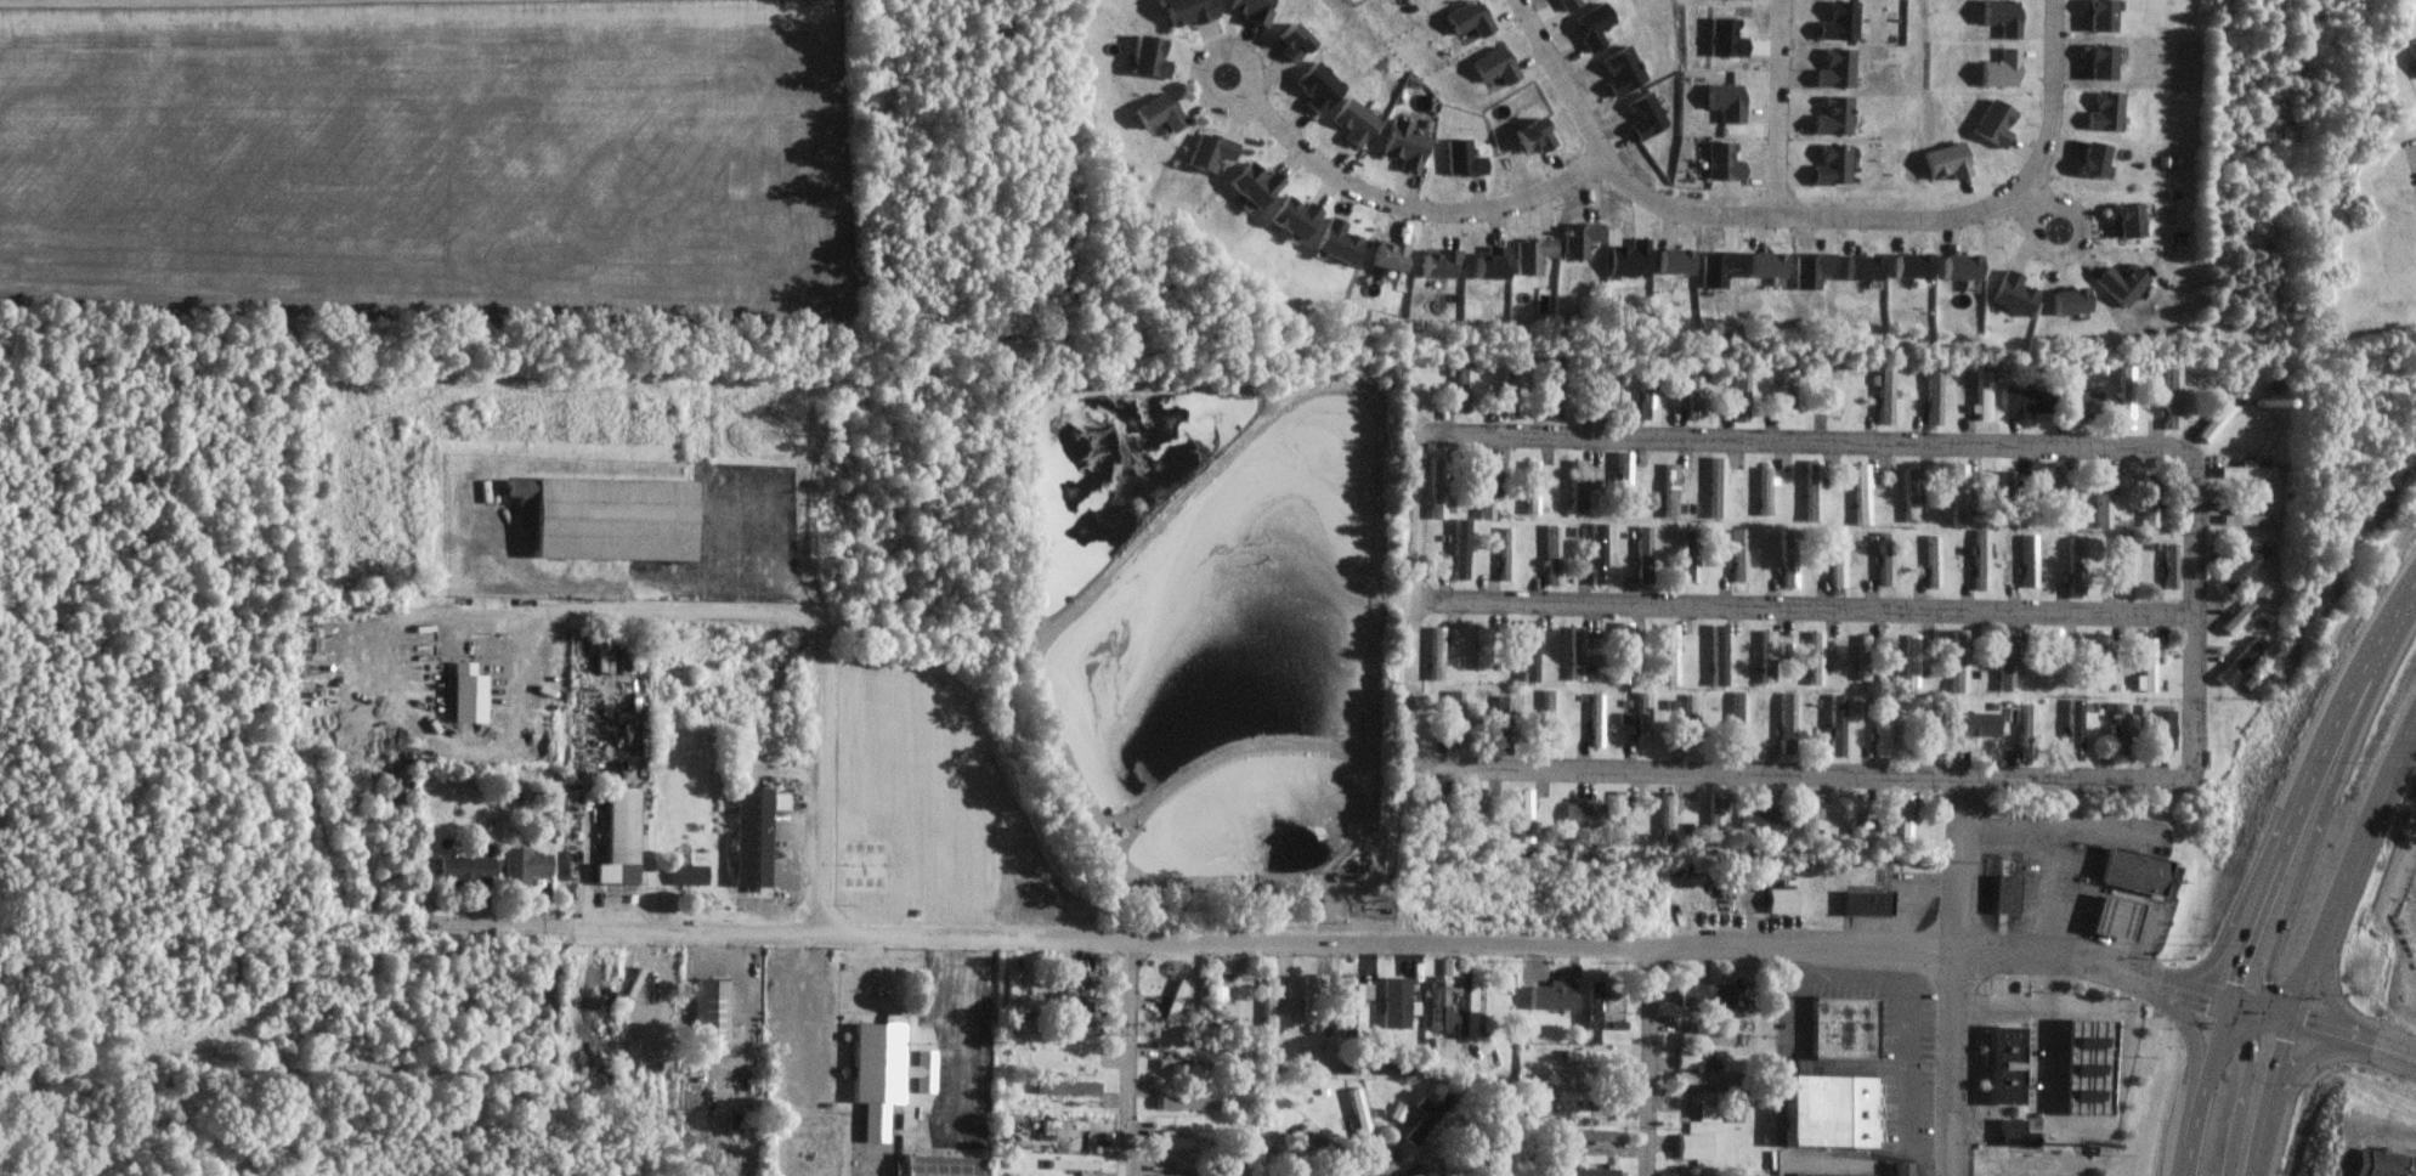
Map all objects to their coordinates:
crop: (183, 1)
building: (1245, 10)
building: (1181, 12)
building: (2097, 15)
building: (1465, 18)
building: (2409, 53)
building: (1143, 57)
road: (1243, 66)
building: (1493, 69)
building: (1623, 70)
road: (1776, 107)
building: (2101, 112)
building: (1153, 113)
building: (1534, 135)
building: (1203, 152)
crop: (431, 156)
building: (2087, 159)
building: (1832, 165)
building: (1249, 185)
road: (1405, 205)
road: (2036, 208)
road: (1809, 215)
building: (1288, 217)
building: (2123, 221)
building: (1330, 243)
building: (1459, 384)
building: (1506, 384)
building: (1554, 385)
building: (1648, 388)
building: (1790, 388)
building: (1694, 389)
building: (1601, 390)
building: (1742, 390)
building: (1837, 390)
building: (1885, 394)
building: (1933, 394)
building: (1980, 395)
building: (2122, 396)
building: (2169, 398)
building: (2024, 401)
building: (2076, 401)
building: (2217, 415)
road: (1640, 437)
building: (2242, 471)
building: (1623, 485)
building: (1575, 486)
building: (1433, 487)
building: (1529, 487)
building: (1719, 487)
building: (1482, 488)
building: (1671, 490)
building: (1766, 490)
building: (1812, 491)
building: (1860, 493)
building: (1954, 493)
building: (2003, 493)
building: (2050, 493)
building: (1908, 494)
building: (2098, 497)
building: (2145, 499)
building: (1741, 504)
building: (1694, 509)
building: (601, 518)
building: (2241, 519)
building: (1455, 548)
building: (1596, 553)
building: (2212, 553)
building: (1501, 554)
building: (1548, 554)
building: (1643, 554)
building: (1739, 555)
building: (1833, 555)
building: (1882, 558)
building: (1787, 559)
building: (1976, 559)
building: (2025, 560)
building: (1929, 561)
building: (2118, 562)
building: (2071, 565)
building: (2239, 567)
road: (1799, 607)
building: (2241, 610)
wastewater plant: (1216, 639)
road: (809, 644)
building: (1478, 649)
building: (1526, 650)
building: (1572, 652)
building: (1620, 652)
building: (1432, 654)
building: (1668, 654)
building: (1715, 655)
building: (1763, 657)
building: (1810, 657)
building: (1857, 657)
building: (2095, 658)
building: (1999, 660)
building: (2048, 660)
building: (2236, 660)
building: (1906, 661)
building: (1953, 661)
building: (1979, 661)
building: (2141, 663)
building: (1595, 668)
building: (460, 692)
building: (1450, 716)
building: (1499, 716)
building: (1641, 718)
building: (1546, 719)
building: (1594, 719)
building: (1690, 719)
building: (1736, 722)
building: (1783, 722)
building: (1832, 724)
building: (1971, 724)
building: (1878, 725)
building: (1926, 725)
building: (1529, 729)
building: (2070, 729)
building: (2114, 729)
building: (2157, 729)
building: (2021, 731)
road: (2304, 781)
building: (1427, 809)
building: (1475, 814)
building: (1582, 814)
building: (1711, 814)
building: (1522, 815)
building: (1807, 815)
building: (1617, 816)
building: (1763, 816)
building: (1665, 818)
building: (1854, 820)
road: (2314, 820)
building: (1902, 821)
building: (615, 836)
building: (747, 836)
road: (2055, 848)
road: (2346, 860)
building: (517, 864)
building: (459, 867)
road: (1962, 867)
building: (2126, 871)
building: (684, 875)
road: (2244, 887)
building: (2005, 893)
building: (1778, 899)
building: (1865, 901)
building: (2109, 916)
road: (627, 925)
road: (1493, 945)
road: (2048, 978)
traffic signals: (2233, 982)
traffic signals: (2267, 982)
building: (1211, 990)
building: (1011, 993)
building: (1065, 993)
road: (2329, 993)
building: (1702, 994)
road: (2196, 994)
traffic signals: (2207, 997)
building: (1306, 999)
building: (1347, 1001)
building: (1266, 1002)
road: (2059, 1002)
building: (1590, 1003)
road: (1794, 1003)
road: (1908, 1003)
building: (1436, 1006)
building: (1385, 1007)
building: (705, 1008)
road: (2259, 1011)
traffic signals: (2305, 1023)
building: (1843, 1028)
road: (2324, 1028)
road: (2190, 1036)
road: (964, 1038)
building: (1702, 1038)
traffic signals: (2287, 1040)
traffic signals: (2252, 1042)
building: (1068, 1045)
building: (1437, 1046)
road: (2386, 1048)
building: (1020, 1052)
building: (1580, 1055)
road: (1118, 1058)
building: (1684, 1058)
building: (882, 1062)
road: (1650, 1062)
building: (588, 1063)
building: (1178, 1063)
road: (2305, 1063)
road: (1957, 1064)
building: (2007, 1064)
building: (2086, 1065)
building: (1702, 1078)
road: (2246, 1085)
building: (1062, 1087)
road: (2206, 1089)
building: (1584, 1095)
road: (2273, 1097)
building: (1183, 1102)
building: (1828, 1109)
building: (1356, 1113)
building: (1702, 1113)
building: (1424, 1115)
building: (1065, 1126)
building: (2014, 1130)
building: (1585, 1135)
building: (1175, 1141)
building: (1315, 1146)
building: (1690, 1146)
building: (2381, 1163)
building: (1066, 1164)
building: (938, 1165)
building: (1900, 1169)
building: (1582, 1171)
building: (1832, 1174)
building: (1663, 1175)

